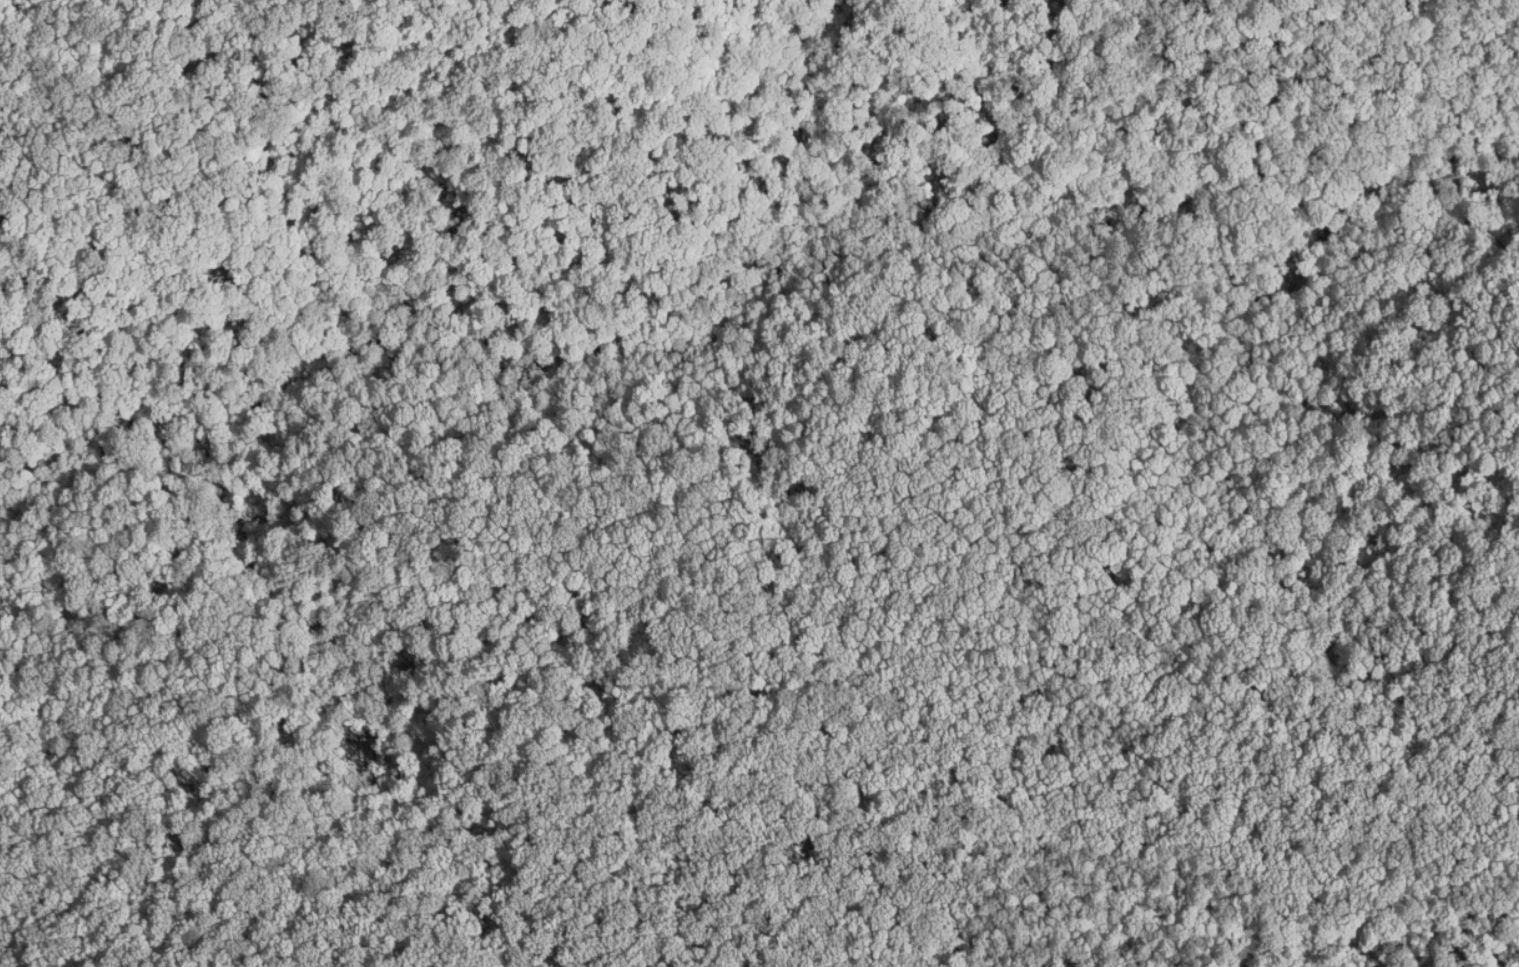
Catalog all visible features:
road: (1398, 898)

